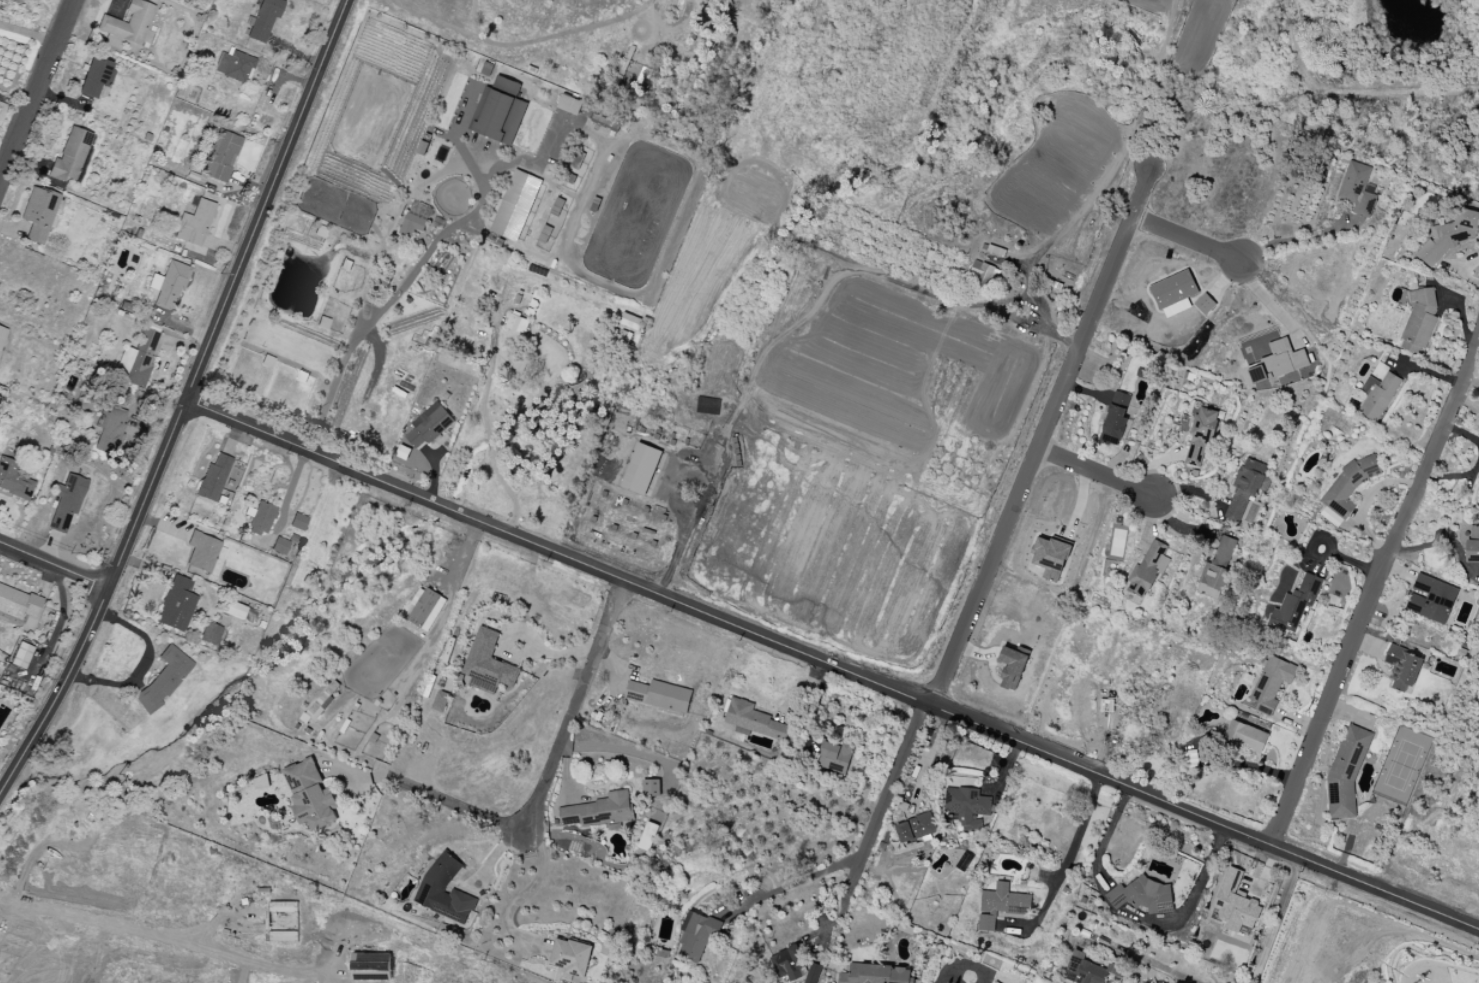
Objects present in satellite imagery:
building: (264, 22)
building: (129, 23)
road: (673, 32)
building: (238, 67)
building: (95, 77)
road: (34, 89)
building: (569, 104)
building: (499, 111)
building: (70, 157)
building: (222, 157)
road: (519, 165)
building: (1357, 189)
building: (515, 205)
building: (38, 214)
building: (194, 224)
building: (413, 224)
building: (1451, 236)
road: (1186, 238)
road: (1296, 238)
building: (997, 250)
building: (984, 273)
building: (171, 284)
building: (1173, 293)
building: (1204, 304)
road: (1273, 305)
road: (802, 317)
road: (375, 319)
building: (630, 321)
building: (517, 324)
building: (1420, 324)
building: (2, 335)
road: (377, 360)
building: (135, 361)
building: (1279, 362)
road: (1470, 377)
building: (1380, 396)
road: (1466, 400)
road: (182, 401)
building: (707, 406)
road: (486, 417)
building: (1115, 421)
building: (431, 425)
building: (111, 430)
road: (1041, 435)
building: (1201, 438)
building: (641, 468)
road: (1095, 472)
building: (214, 479)
building: (14, 482)
building: (1350, 486)
building: (1247, 488)
building: (63, 506)
building: (260, 519)
building: (298, 523)
road: (511, 524)
building: (293, 539)
road: (1326, 541)
building: (1473, 546)
building: (280, 547)
building: (203, 552)
building: (1049, 556)
road: (1342, 558)
road: (53, 565)
building: (1216, 571)
building: (1147, 572)
road: (1374, 585)
building: (1432, 600)
building: (177, 605)
building: (1296, 605)
building: (20, 608)
building: (425, 608)
building: (232, 610)
building: (210, 634)
building: (21, 656)
building: (488, 661)
road: (831, 663)
building: (1011, 667)
building: (1402, 668)
building: (164, 682)
building: (1270, 685)
building: (659, 696)
building: (440, 701)
building: (320, 704)
road: (574, 705)
building: (753, 720)
building: (1247, 737)
building: (835, 756)
building: (1347, 773)
building: (261, 782)
building: (651, 787)
building: (309, 794)
road: (442, 799)
building: (967, 806)
building: (597, 811)
road: (876, 818)
building: (916, 827)
road: (1081, 833)
building: (647, 836)
road: (1104, 837)
road: (791, 884)
building: (444, 891)
road: (525, 891)
building: (1142, 895)
road: (1188, 901)
building: (1235, 904)
building: (1001, 905)
building: (284, 907)
road: (1277, 920)
building: (697, 935)
road: (167, 939)
building: (570, 957)
road: (1142, 960)
building: (788, 964)
road: (959, 964)
building: (371, 966)
building: (1083, 970)
building: (813, 973)
building: (875, 974)

